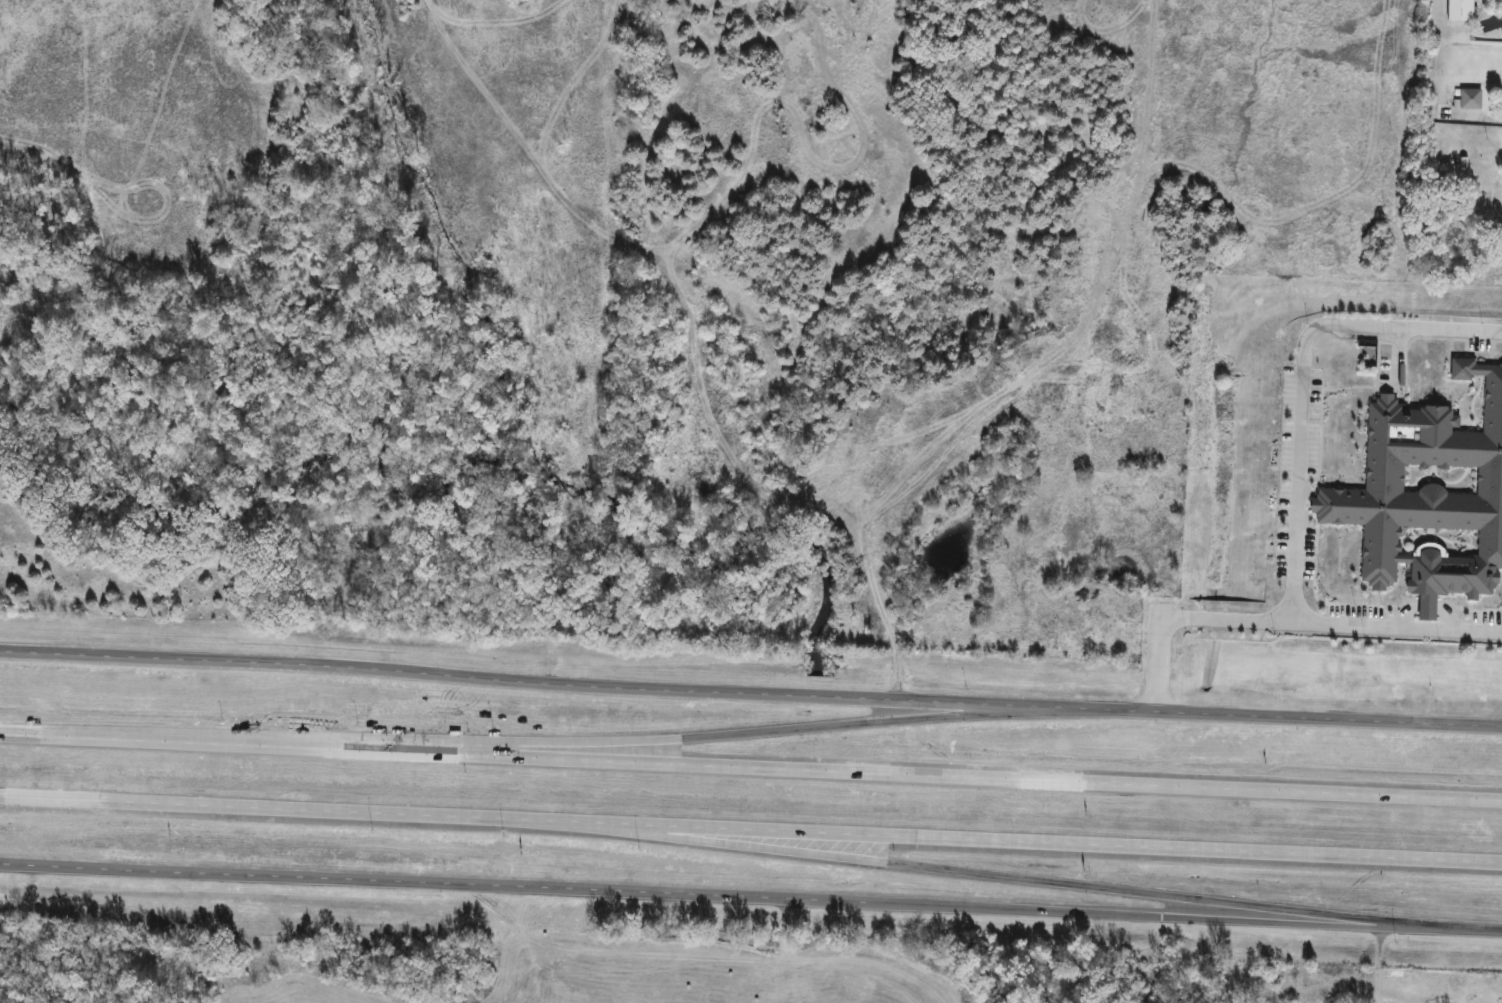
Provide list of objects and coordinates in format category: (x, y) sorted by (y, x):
building: (1458, 11)
building: (1469, 96)
road: (1477, 116)
road: (1295, 485)
building: (1428, 496)
road: (1395, 626)
road: (750, 692)
road: (710, 735)
road: (751, 765)
road: (750, 829)
road: (1006, 876)
road: (425, 883)
road: (1176, 916)
road: (1373, 962)

